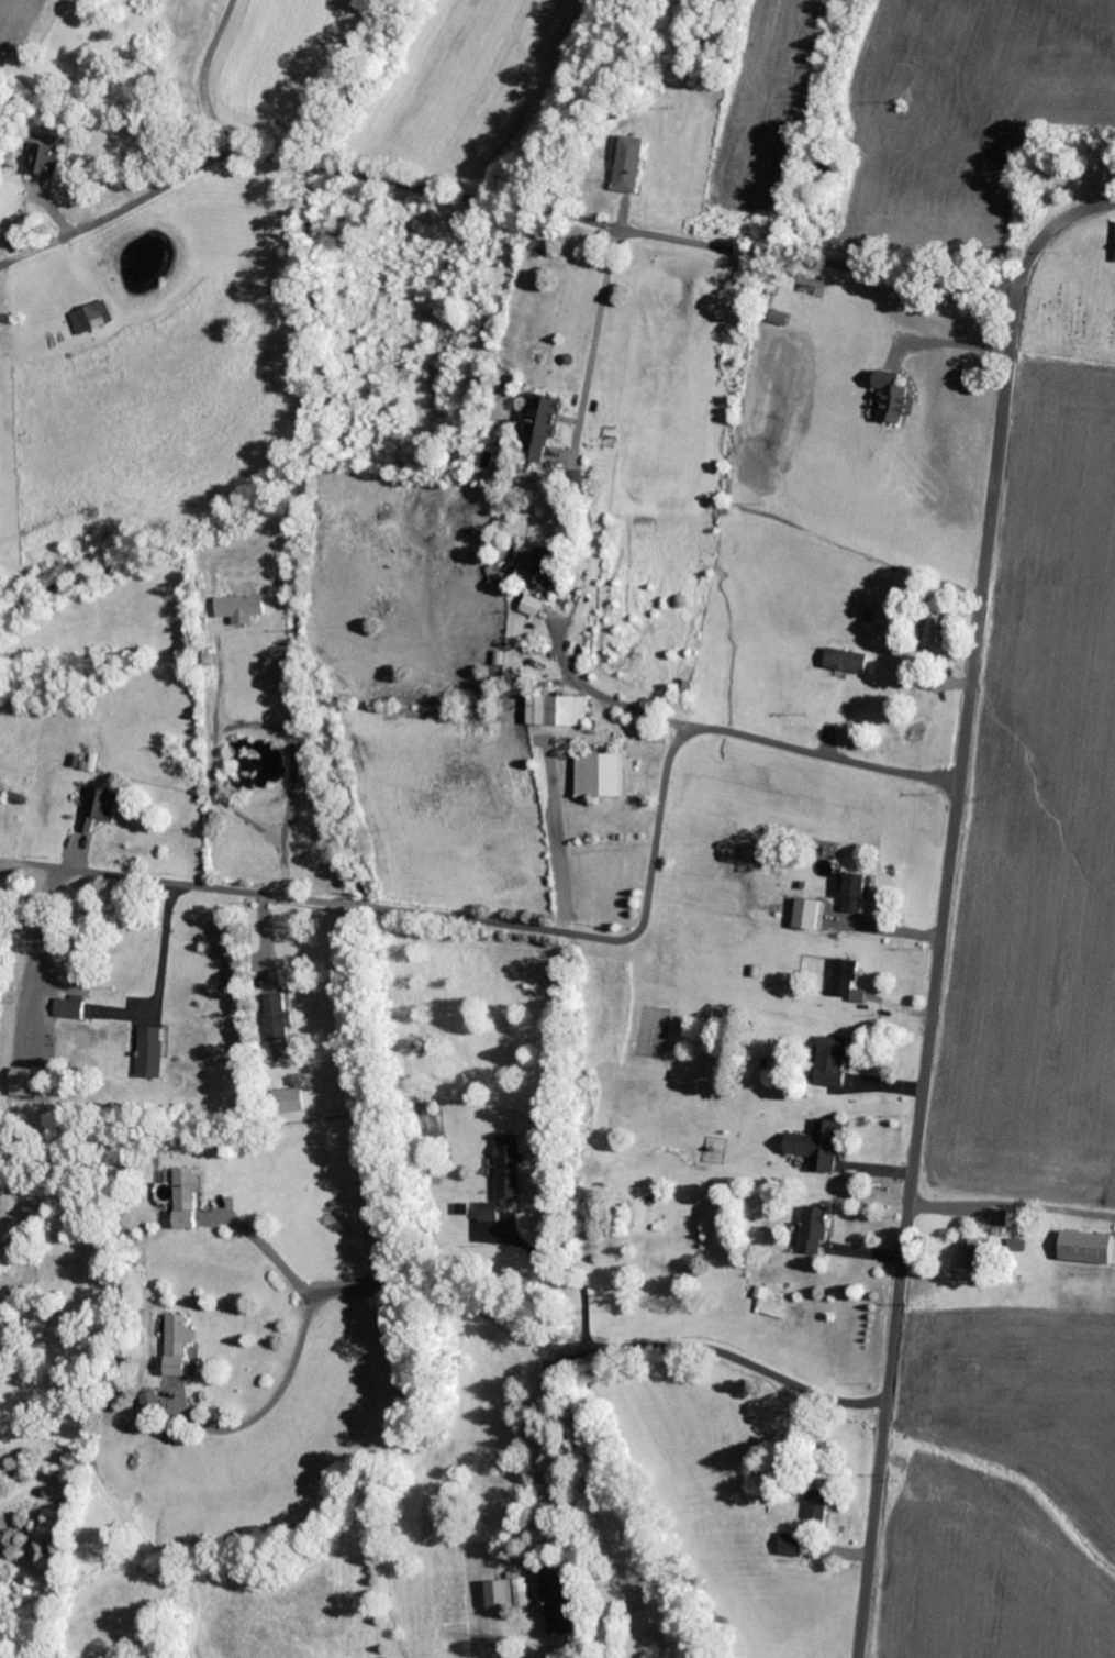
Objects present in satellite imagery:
building: (48, 162)
building: (629, 166)
building: (346, 229)
road: (629, 233)
park: (1067, 319)
building: (91, 320)
building: (778, 320)
building: (890, 401)
road: (556, 429)
building: (543, 432)
building: (544, 570)
building: (532, 608)
building: (930, 628)
building: (846, 663)
building: (557, 714)
building: (600, 777)
building: (100, 808)
building: (856, 894)
road: (945, 904)
road: (559, 932)
building: (846, 982)
building: (70, 1010)
building: (278, 1019)
building: (152, 1054)
building: (832, 1063)
building: (289, 1103)
building: (829, 1148)
building: (505, 1175)
building: (187, 1200)
building: (813, 1231)
building: (1086, 1249)
building: (179, 1345)
road: (724, 1357)
building: (150, 1405)
building: (817, 1507)
building: (792, 1546)
building: (500, 1593)
building: (558, 1603)

